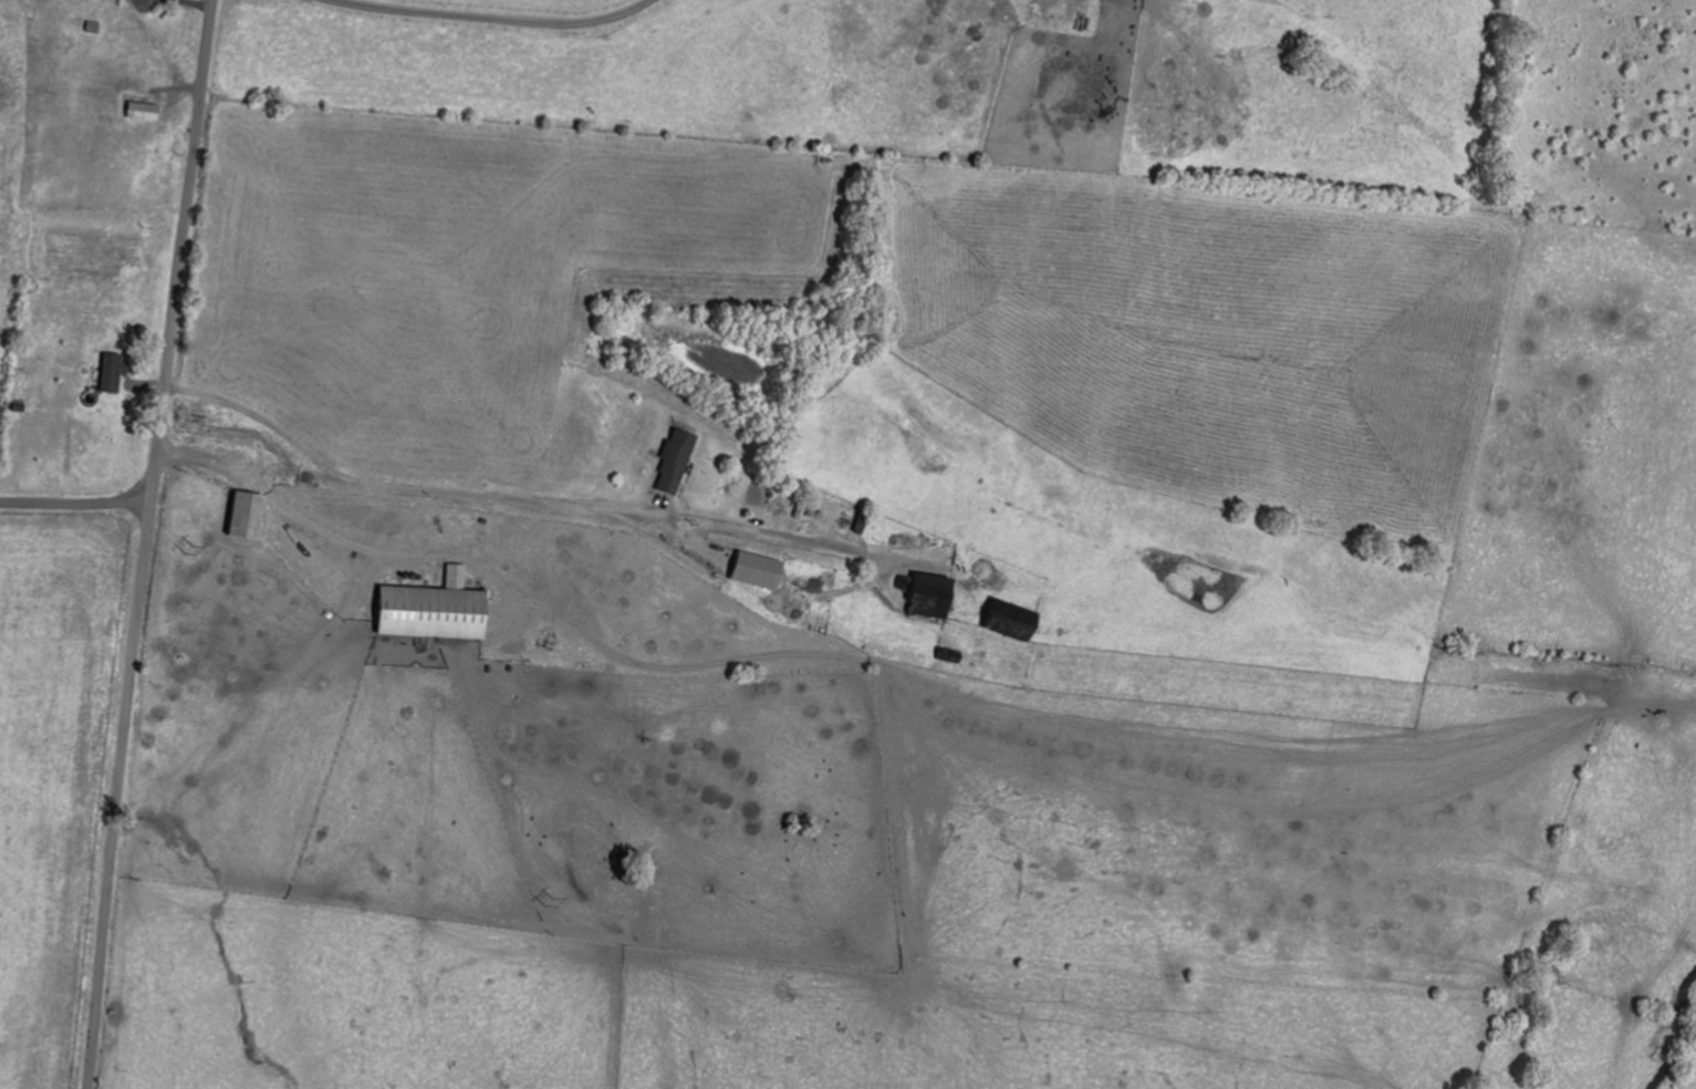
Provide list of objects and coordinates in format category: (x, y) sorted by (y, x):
building: (146, 113)
building: (114, 373)
building: (677, 460)
road: (74, 504)
building: (251, 514)
road: (488, 521)
road: (145, 543)
building: (762, 569)
building: (937, 594)
building: (439, 608)
building: (1018, 620)

